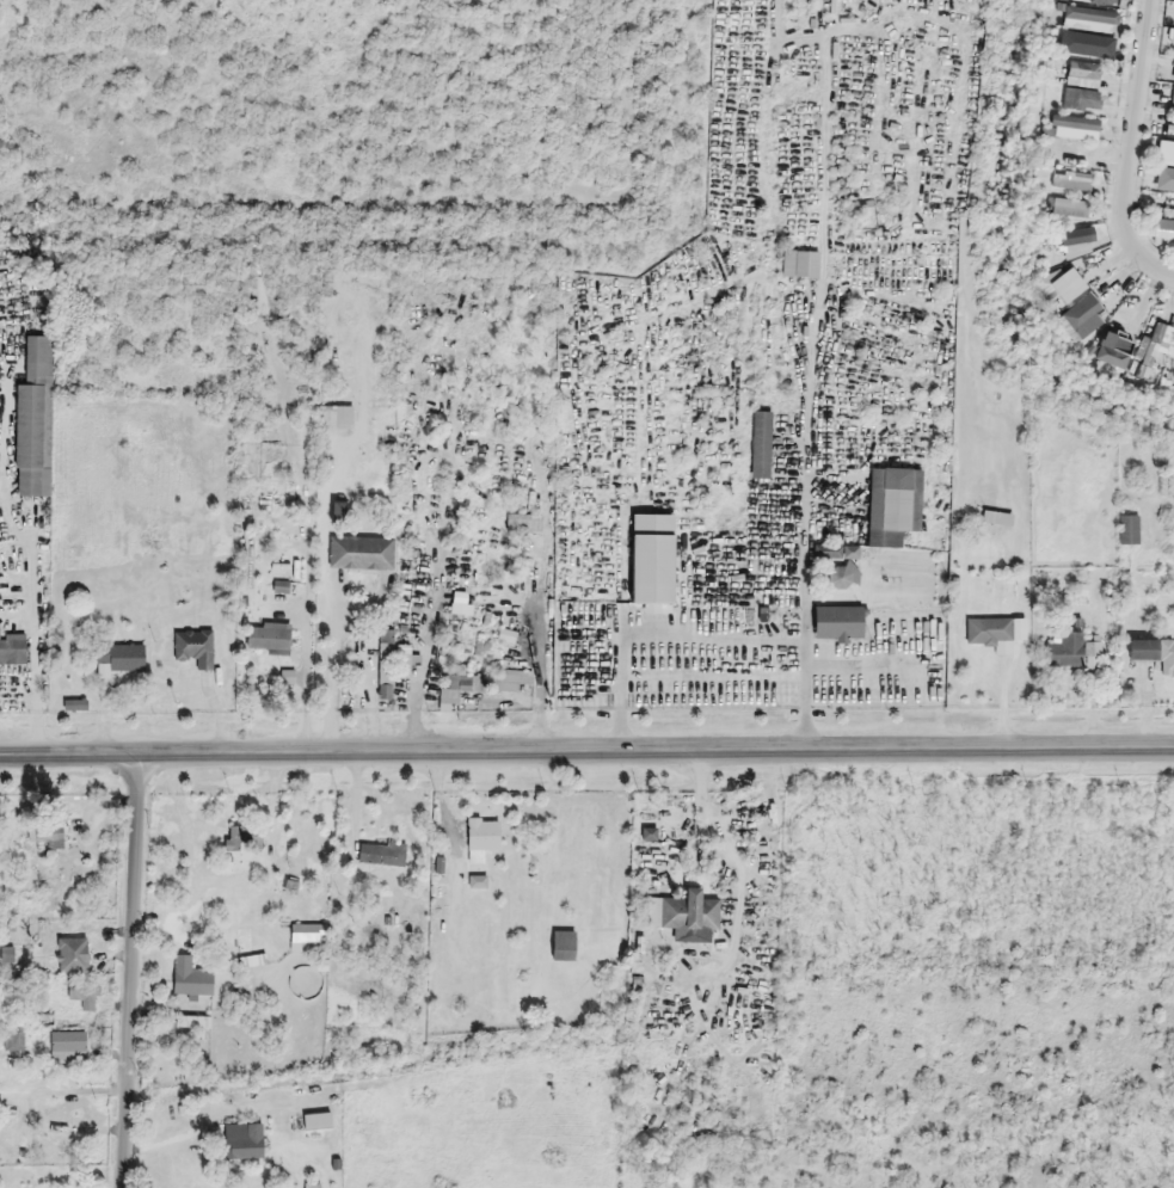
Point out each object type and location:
building: (1102, 2)
building: (1090, 16)
building: (1168, 45)
building: (1086, 50)
building: (1083, 75)
building: (1081, 100)
building: (1173, 105)
building: (1075, 123)
building: (1169, 130)
road: (1129, 148)
building: (1166, 152)
building: (1071, 180)
building: (1167, 184)
building: (1068, 208)
building: (1167, 213)
building: (1164, 232)
building: (1075, 244)
building: (800, 265)
building: (1075, 270)
building: (1082, 316)
building: (1133, 331)
building: (1156, 346)
building: (336, 417)
building: (35, 420)
building: (761, 445)
building: (893, 506)
building: (523, 523)
building: (1129, 530)
building: (361, 553)
building: (652, 561)
building: (841, 565)
building: (779, 615)
building: (837, 624)
building: (990, 634)
building: (508, 638)
building: (268, 639)
building: (195, 648)
building: (12, 650)
building: (1069, 651)
building: (1153, 654)
building: (117, 659)
building: (393, 663)
building: (287, 678)
building: (512, 681)
building: (459, 689)
road: (586, 752)
building: (479, 831)
building: (45, 835)
building: (233, 844)
building: (382, 855)
building: (474, 890)
building: (689, 915)
building: (73, 929)
building: (469, 930)
building: (308, 937)
building: (72, 955)
road: (133, 972)
building: (190, 980)
building: (85, 996)
building: (193, 1022)
building: (67, 1046)
building: (318, 1122)
building: (244, 1141)

